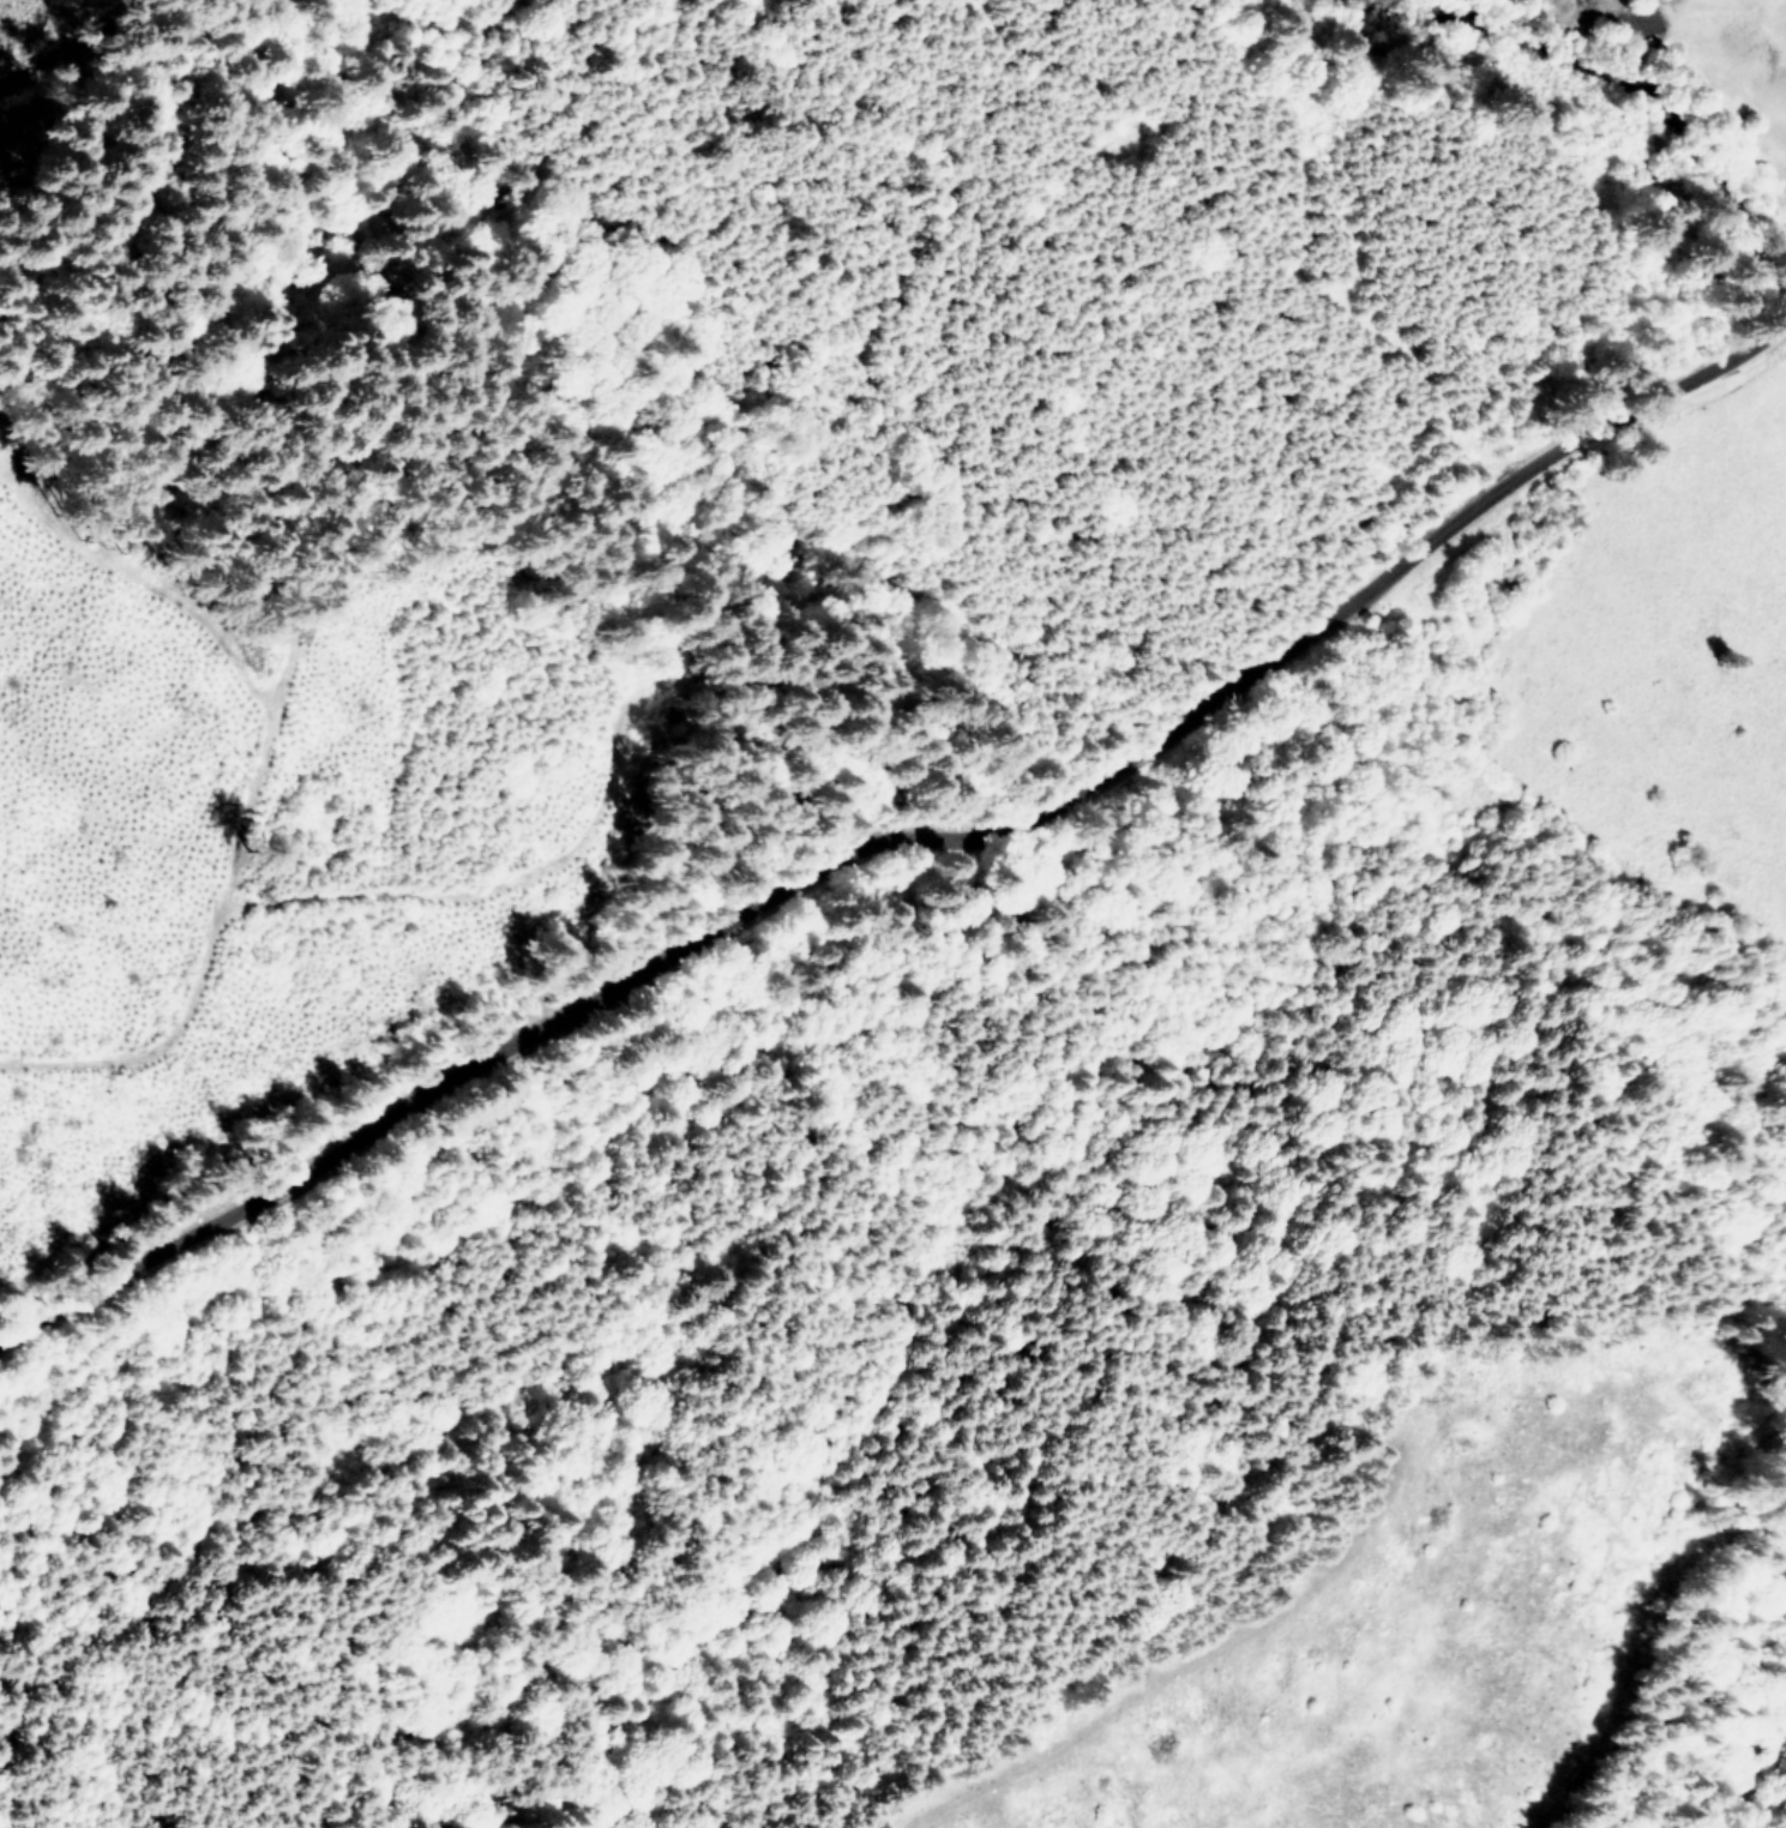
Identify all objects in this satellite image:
crop: (1730, 453)
road: (903, 829)

